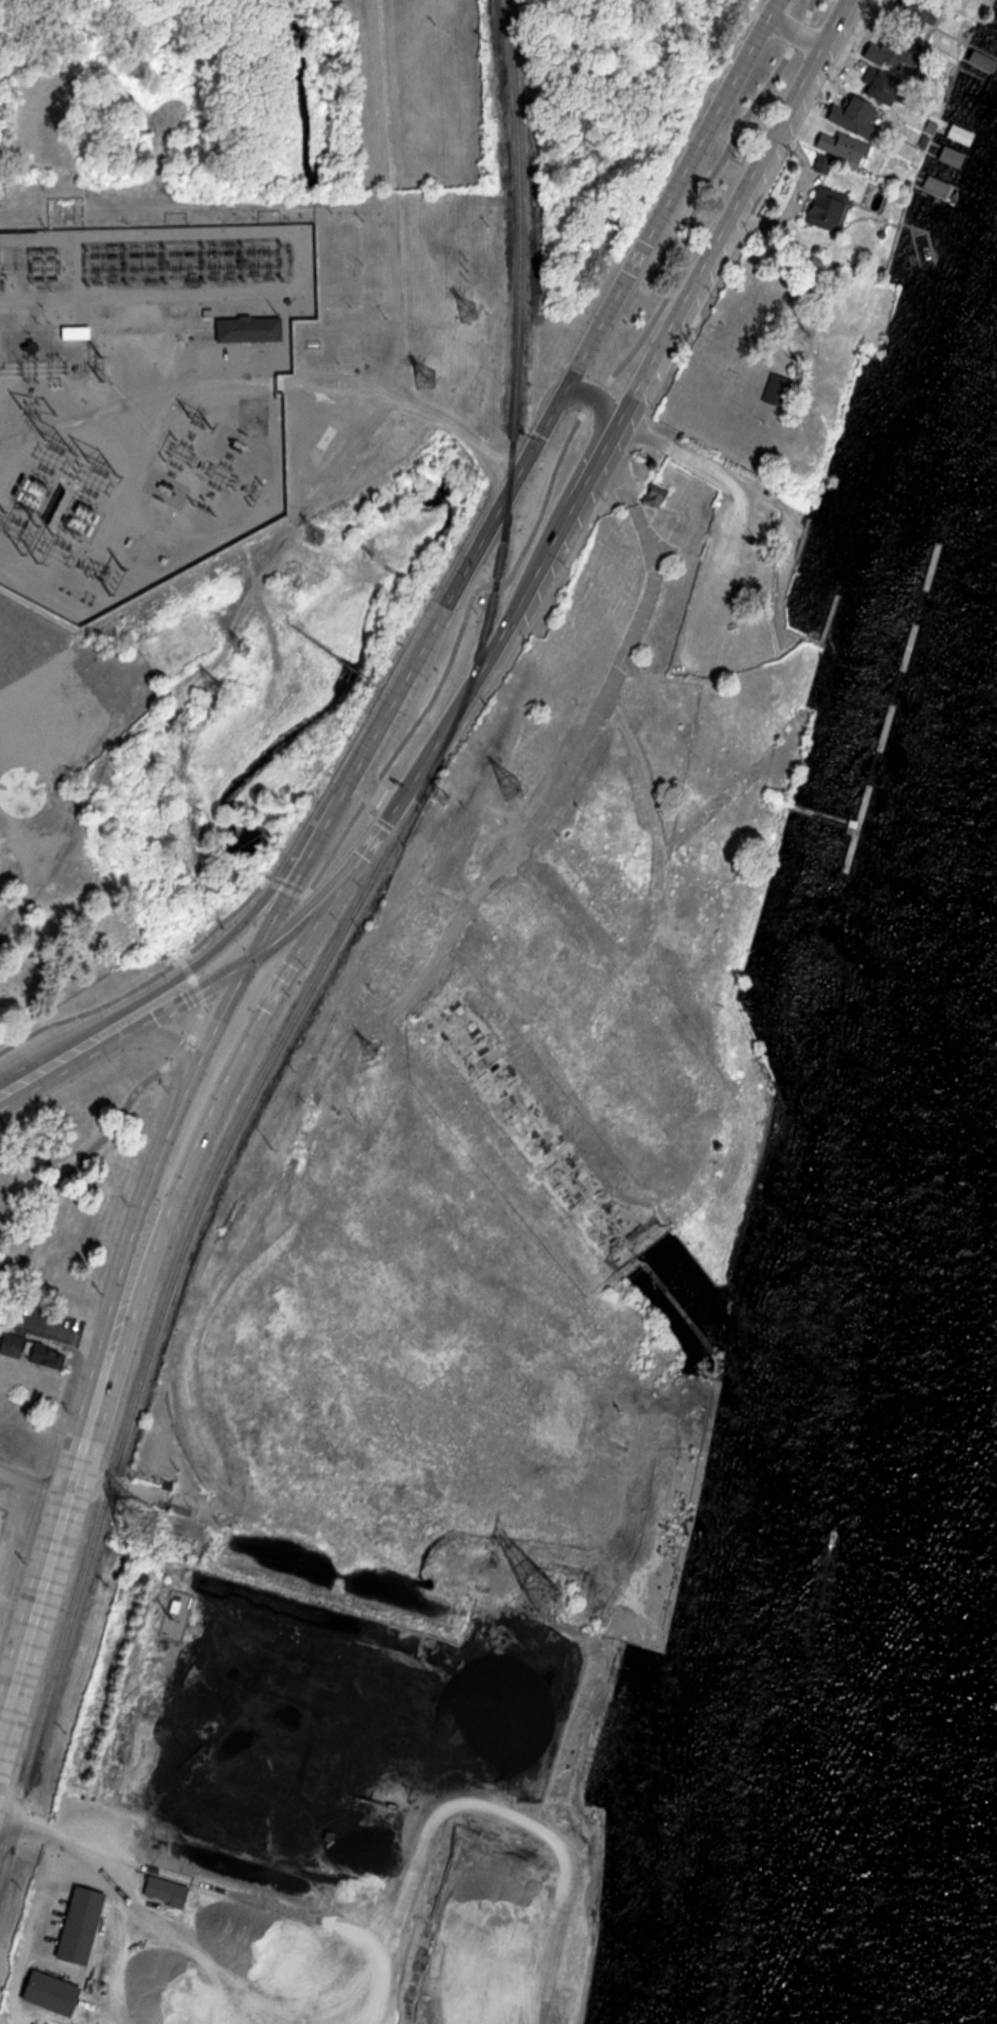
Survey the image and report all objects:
road: (795, 32)
road: (162, 292)
power tower: (471, 312)
building: (251, 330)
building: (79, 333)
power tower: (430, 380)
power substation: (148, 393)
road: (140, 398)
road: (409, 401)
road: (602, 408)
road: (533, 445)
road: (601, 451)
road: (134, 474)
road: (149, 525)
road: (534, 528)
power tower: (320, 538)
road: (20, 568)
building: (185, 645)
power tower: (246, 652)
power tower: (218, 689)
road: (578, 747)
park: (673, 753)
building: (14, 766)
road: (369, 784)
power tower: (514, 788)
power tower: (449, 799)
road: (655, 823)
road: (15, 897)
road: (271, 923)
road: (295, 924)
railway: (336, 944)
road: (203, 960)
road: (188, 998)
road: (164, 1037)
power tower: (376, 1049)
road: (237, 1057)
road: (58, 1061)
road: (189, 1088)
road: (117, 1119)
road: (55, 1330)
building: (29, 1350)
park: (24, 1475)
road: (34, 1482)
road: (71, 1482)
power tower: (141, 1528)
power tower: (543, 1599)
road: (66, 1844)

